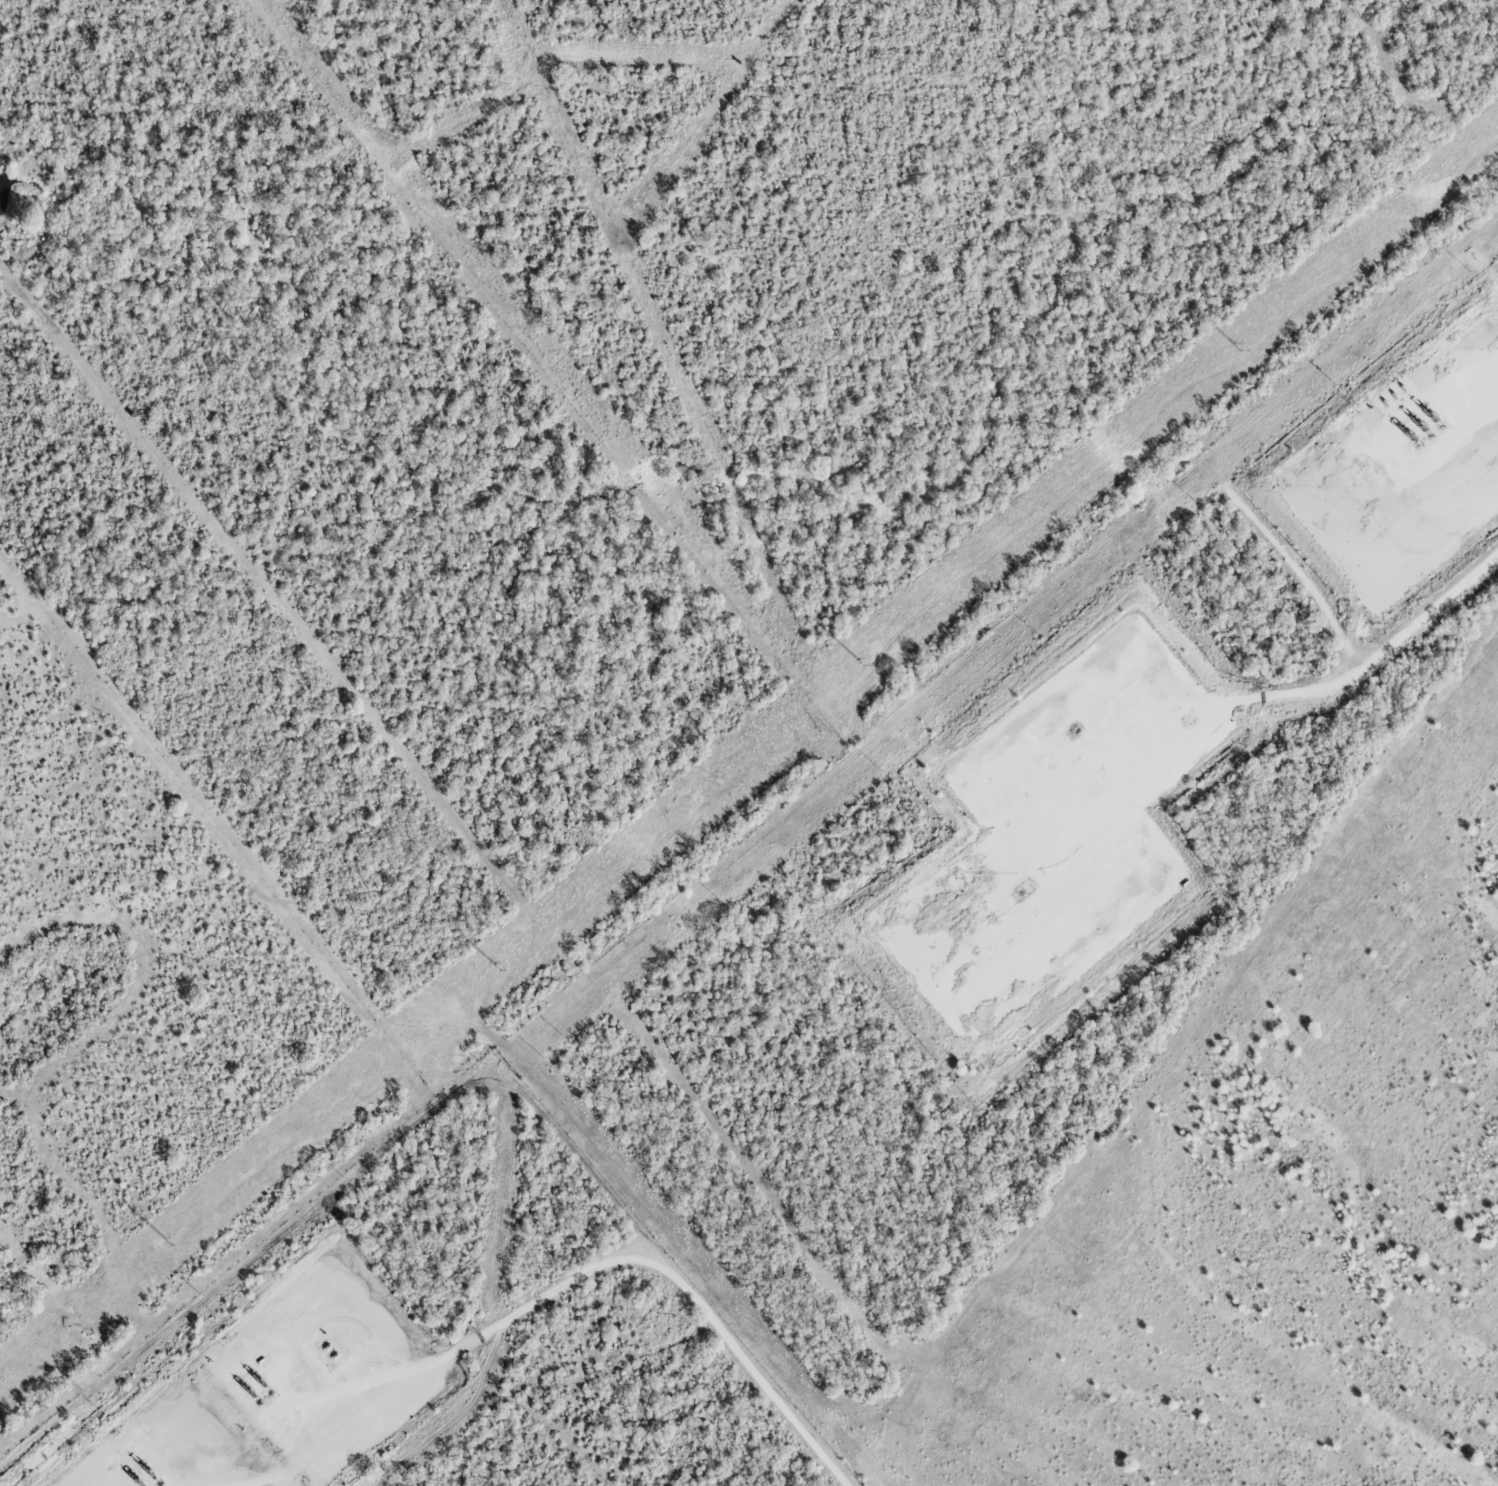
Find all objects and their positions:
power tower: (1235, 347)
road: (1415, 466)
power tower: (859, 659)
road: (1367, 659)
road: (1064, 910)
power tower: (495, 965)
power tower: (166, 1241)
road: (560, 1286)

